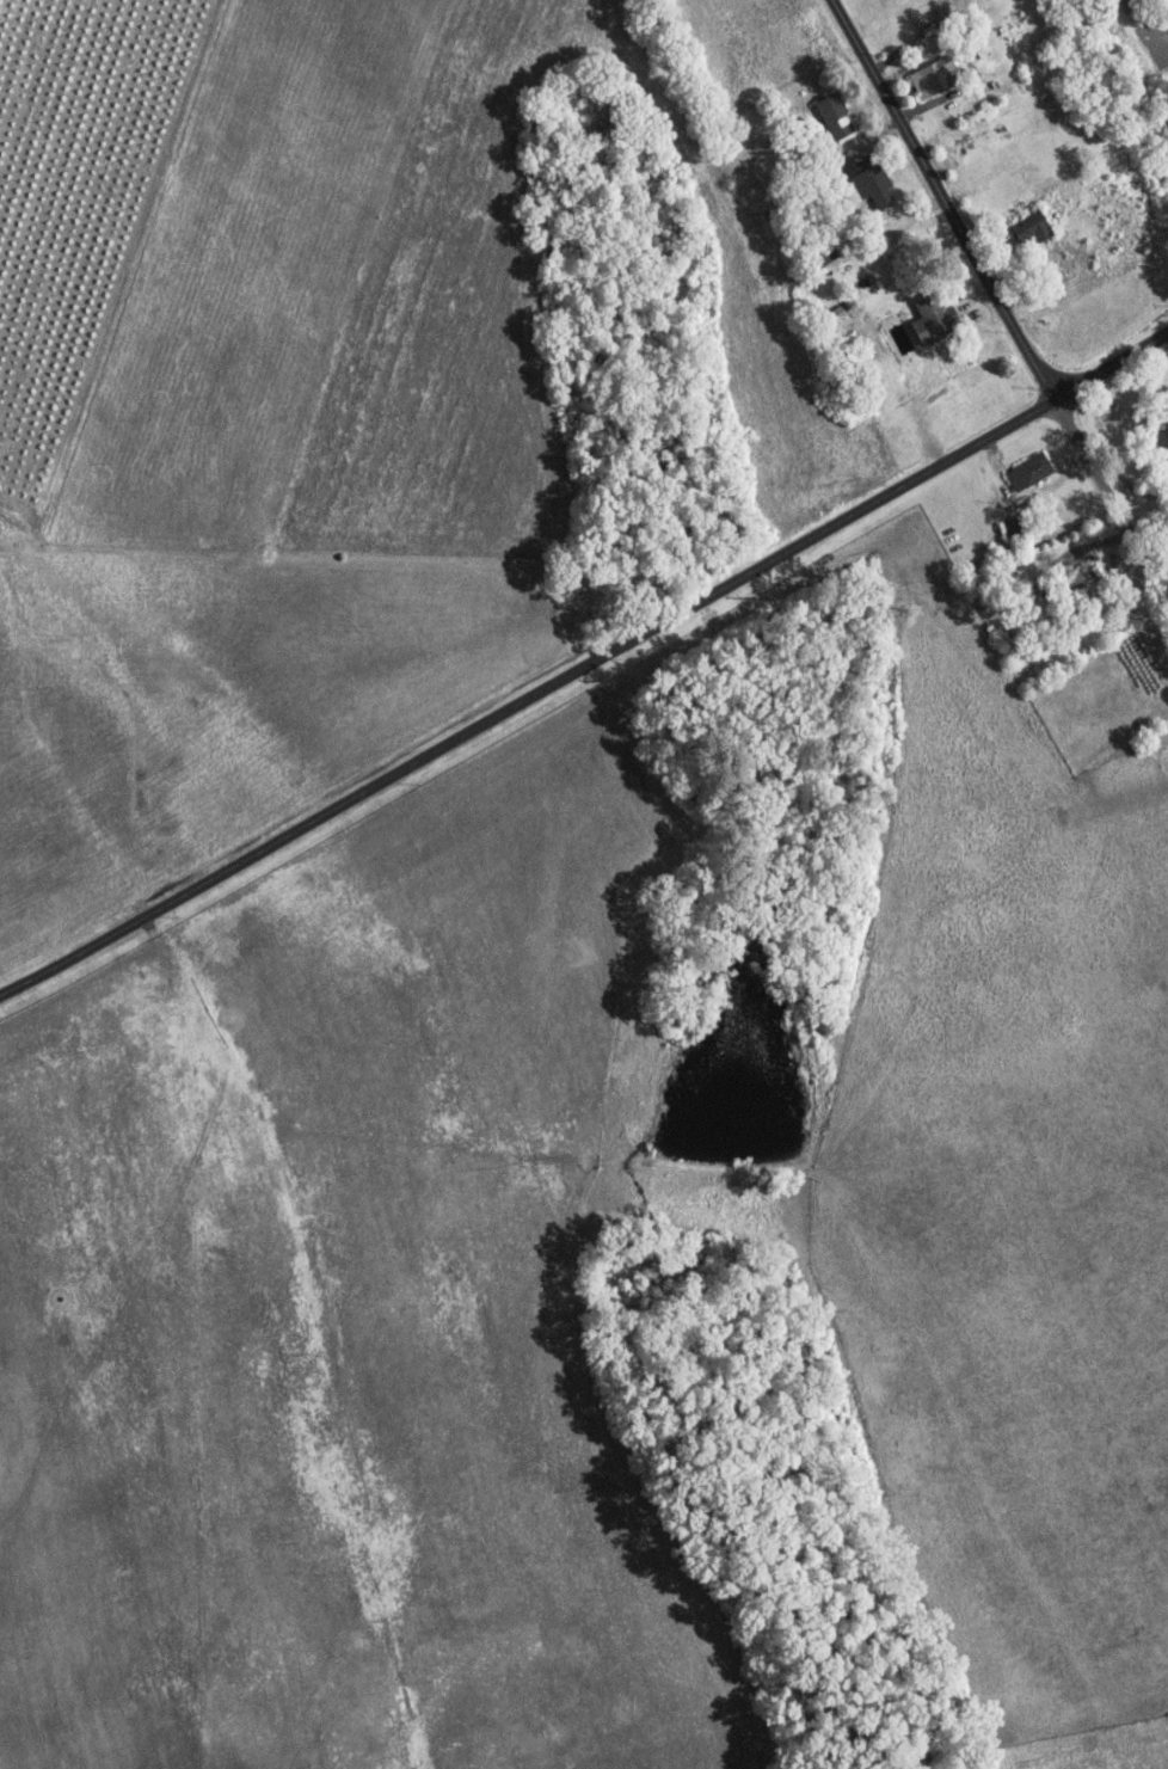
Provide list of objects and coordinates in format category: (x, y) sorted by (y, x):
building: (926, 30)
road: (1143, 31)
road: (890, 56)
building: (929, 76)
road: (929, 103)
building: (831, 113)
building: (727, 137)
road: (857, 141)
building: (863, 182)
building: (803, 201)
road: (895, 220)
building: (1028, 226)
building: (817, 254)
road: (1016, 270)
road: (997, 301)
road: (982, 314)
building: (930, 319)
road: (1111, 366)
building: (868, 382)
crop: (242, 416)
road: (996, 454)
building: (1028, 471)
building: (1015, 526)
road: (1154, 543)
road: (1083, 545)
road: (528, 698)

